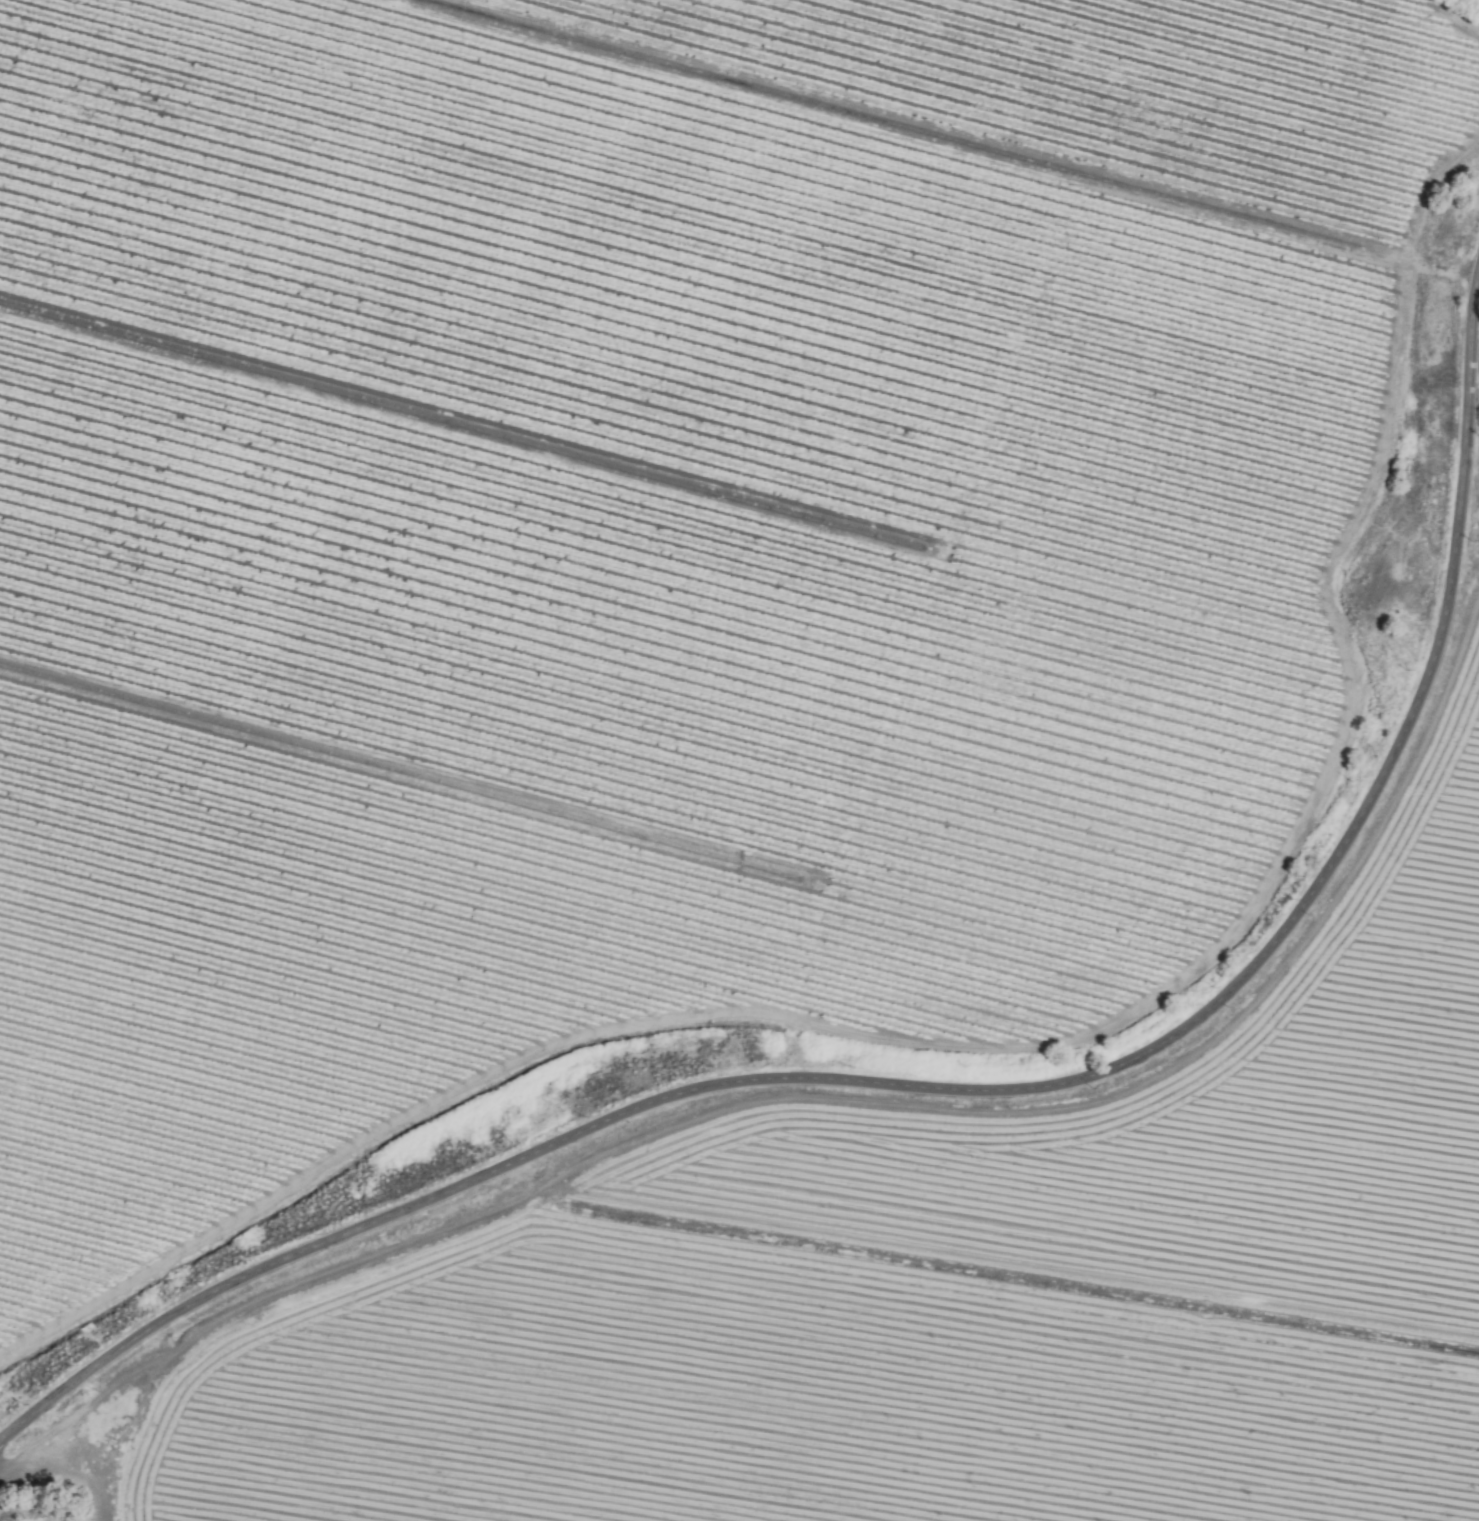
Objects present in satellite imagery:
crop: (738, 748)
road: (971, 1091)

